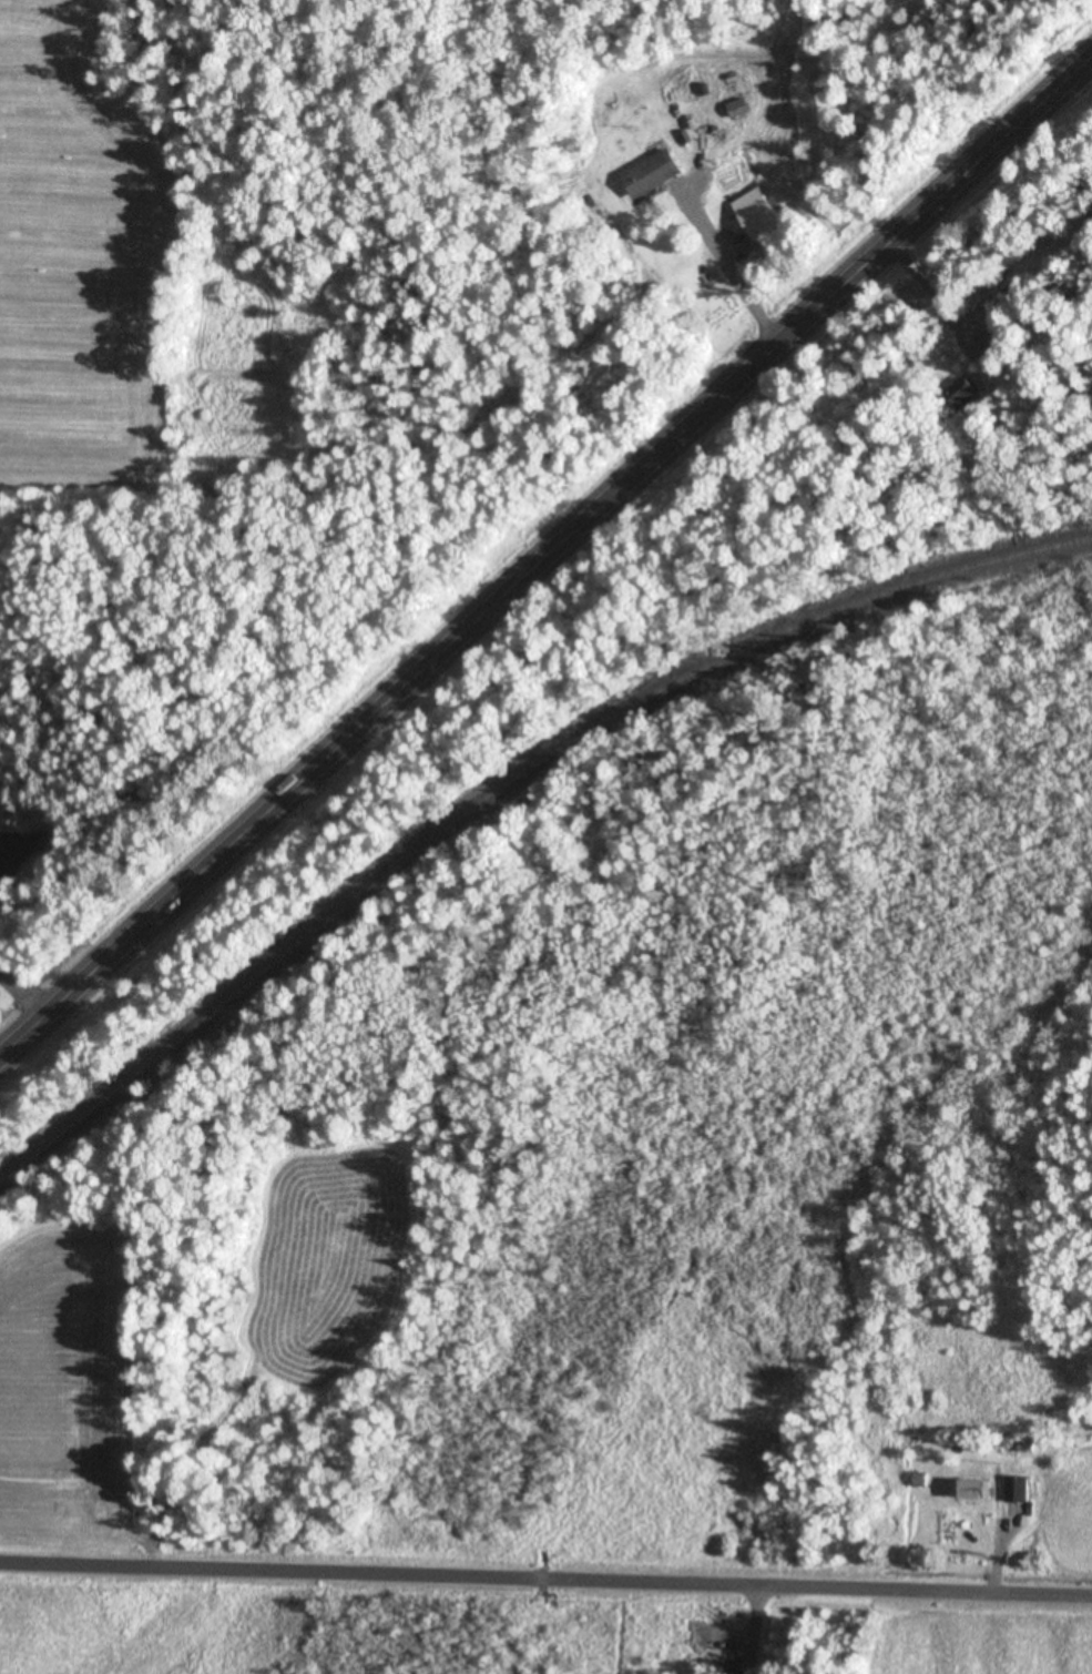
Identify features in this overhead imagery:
building: (741, 110)
building: (655, 175)
building: (967, 394)
road: (545, 558)
railway: (503, 788)
building: (1021, 1490)
building: (978, 1491)
road: (545, 1562)

